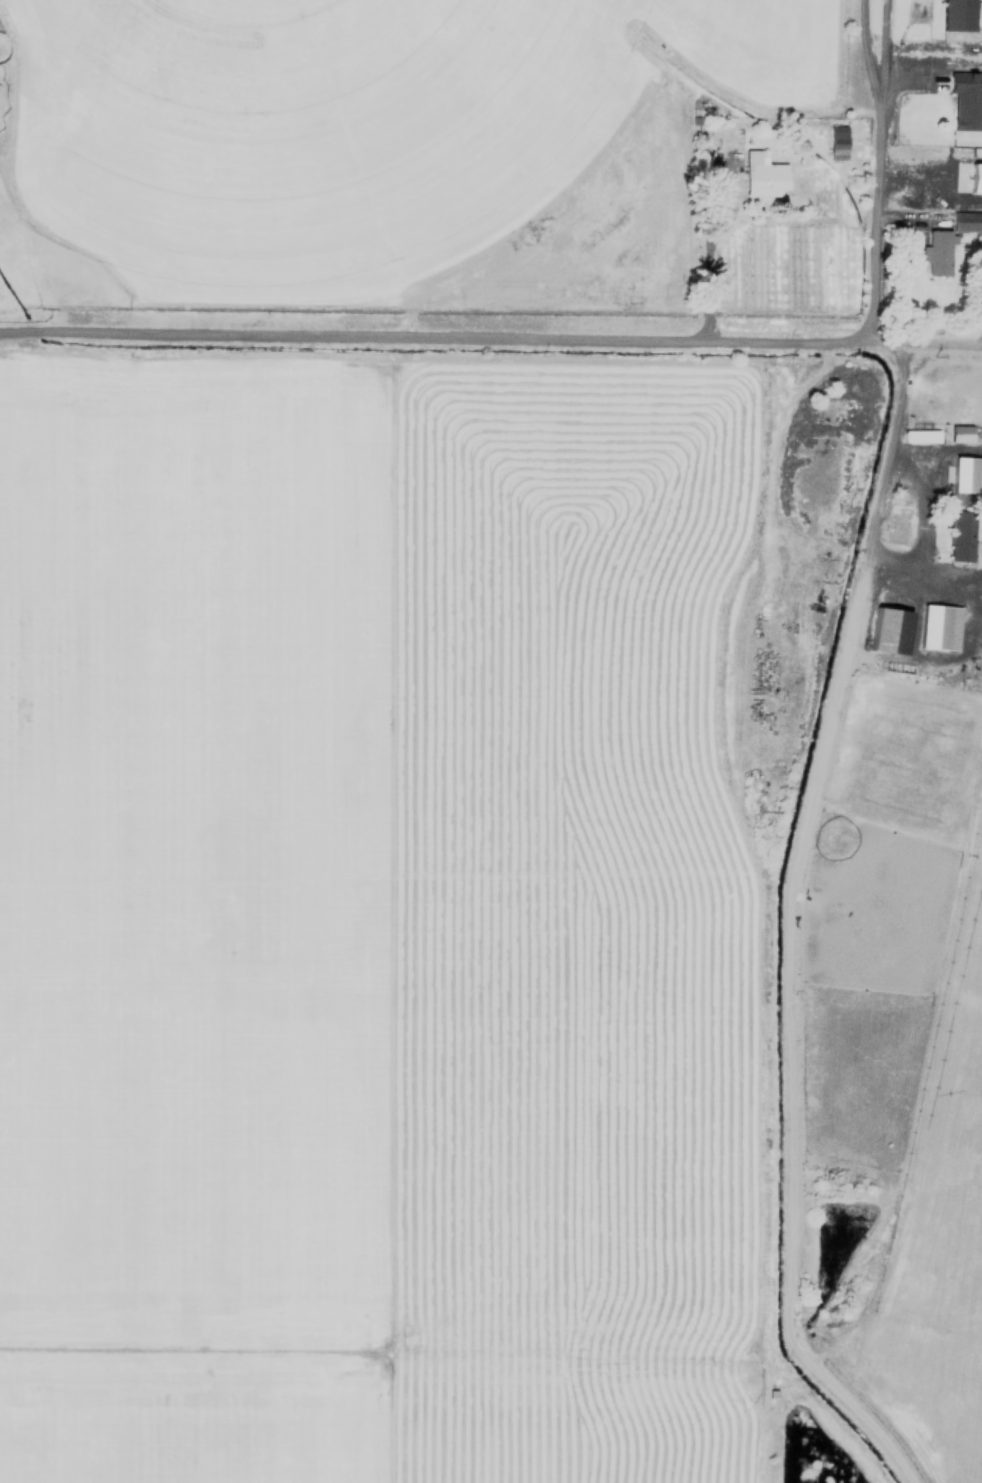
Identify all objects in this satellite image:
building: (979, 14)
building: (955, 15)
building: (966, 100)
building: (836, 141)
crop: (429, 161)
road: (878, 169)
building: (761, 174)
building: (969, 176)
building: (966, 221)
building: (937, 252)
road: (434, 335)
road: (925, 343)
building: (960, 433)
building: (965, 474)
building: (960, 535)
building: (937, 626)
building: (883, 631)

